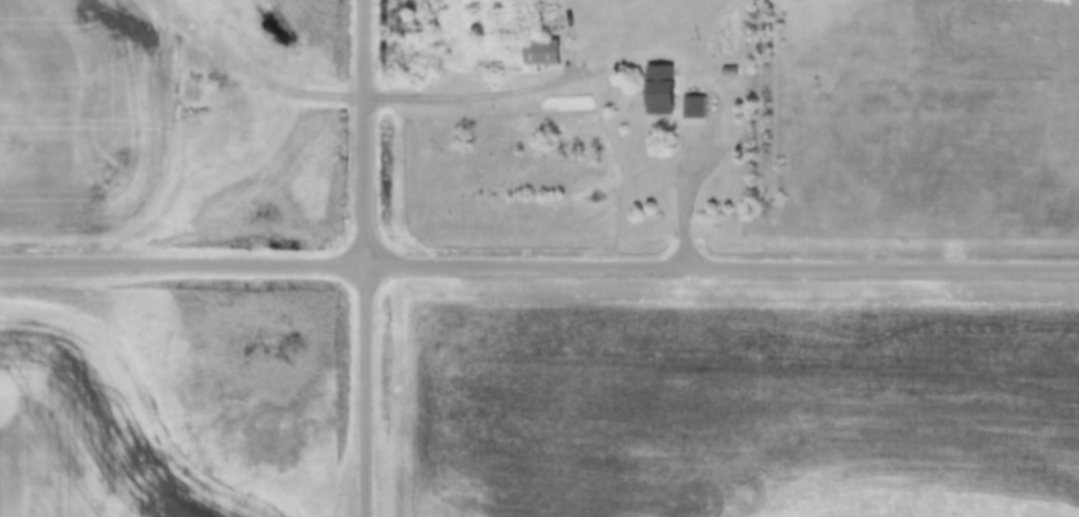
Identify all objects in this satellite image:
building: (540, 53)
road: (288, 86)
building: (656, 89)
road: (484, 93)
building: (692, 106)
road: (687, 192)
road: (362, 257)
road: (181, 258)
road: (720, 262)

